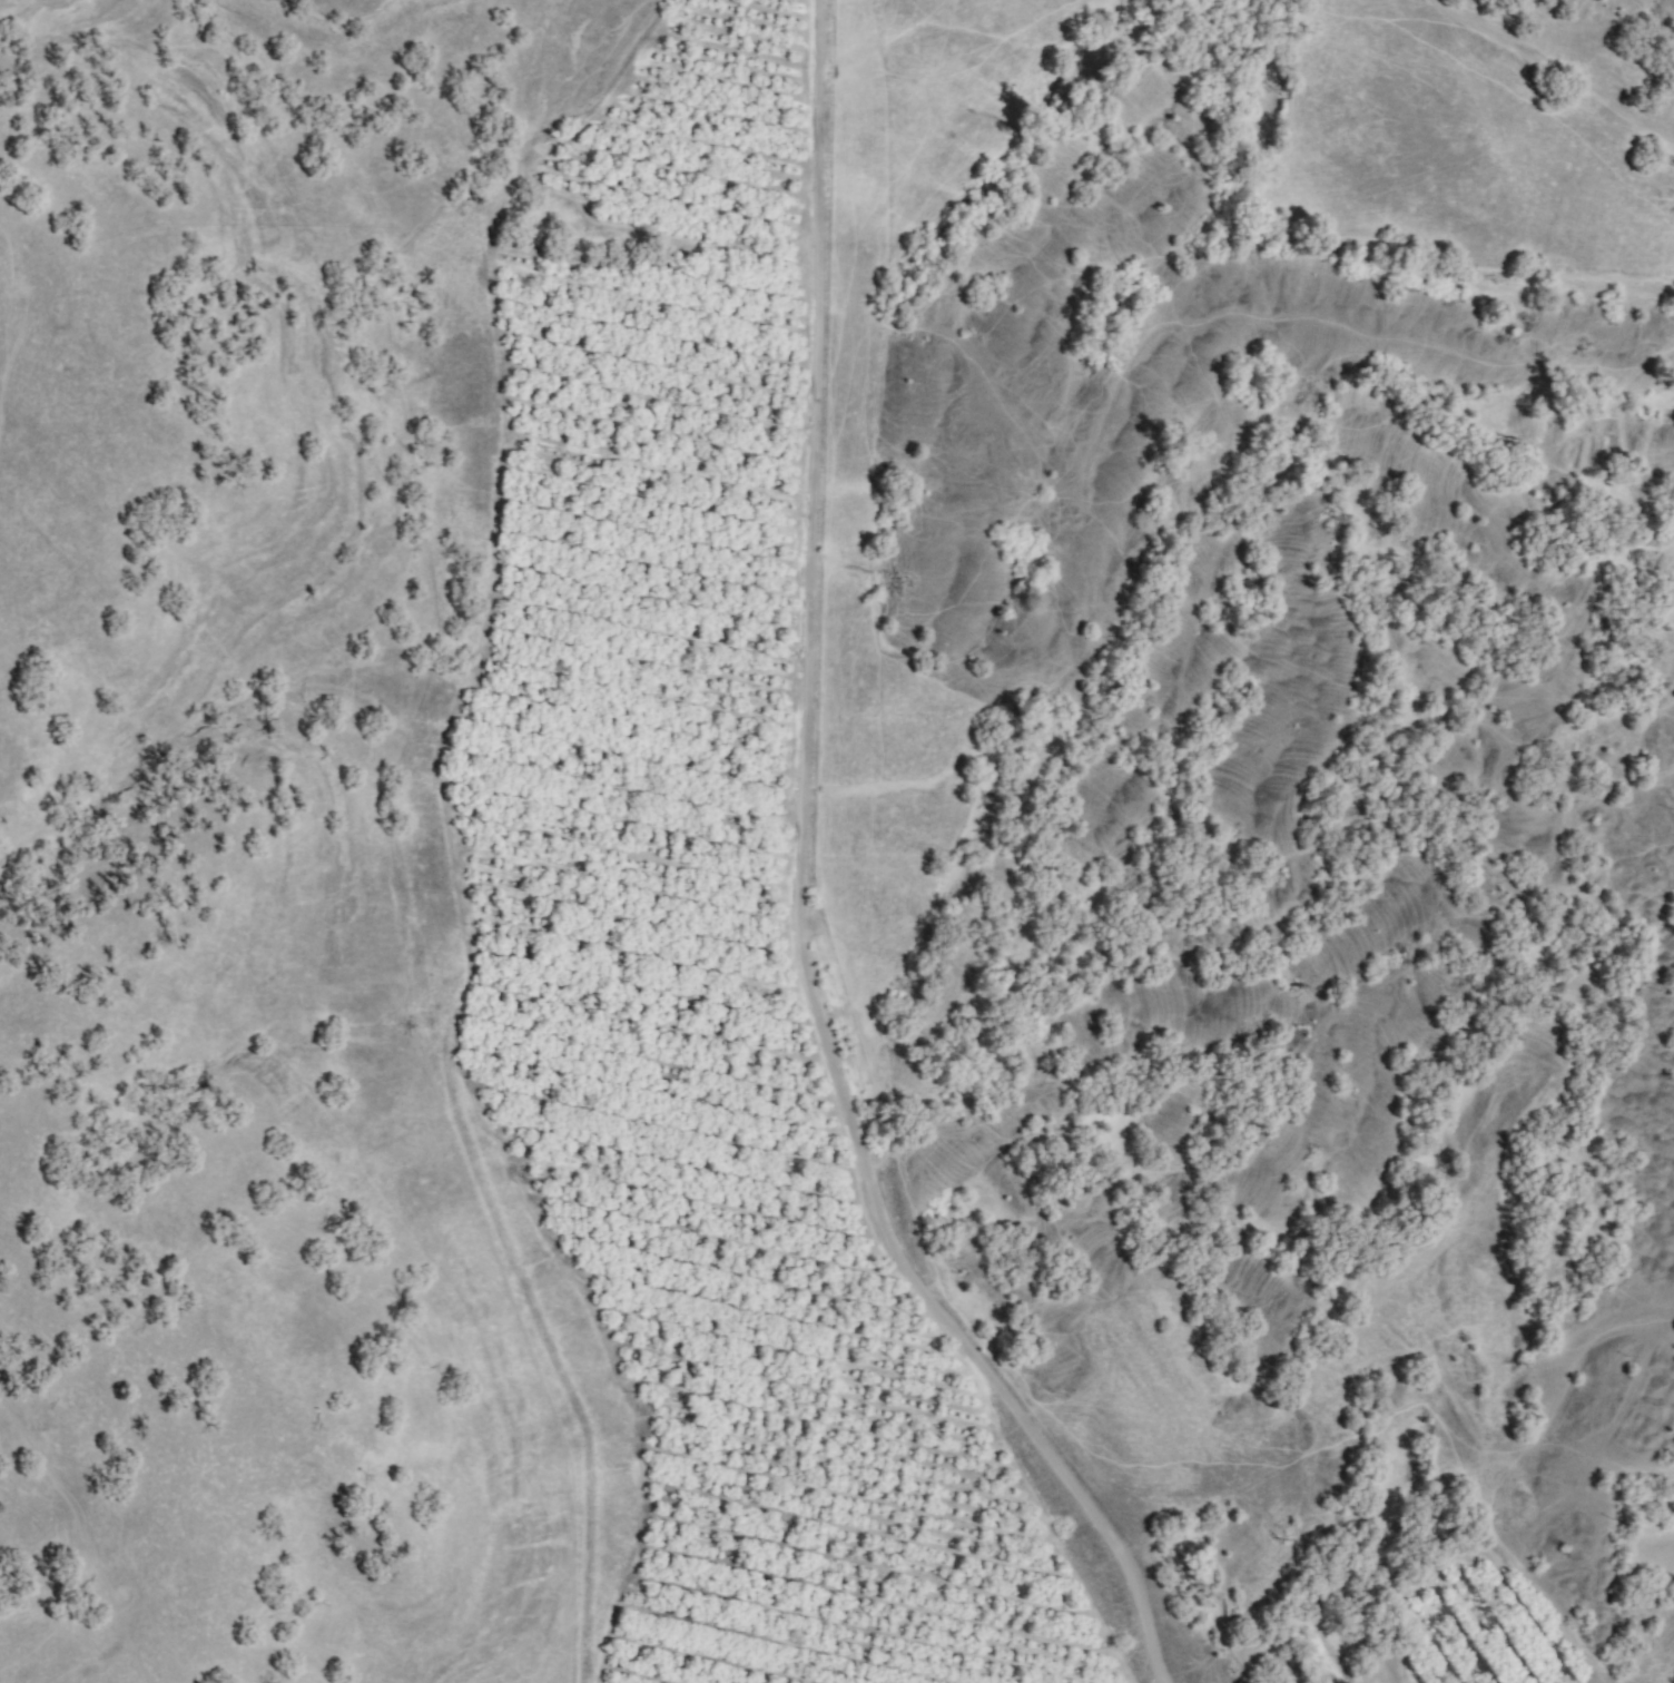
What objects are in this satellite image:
road: (807, 889)
crop: (706, 931)
crop: (1420, 1613)

